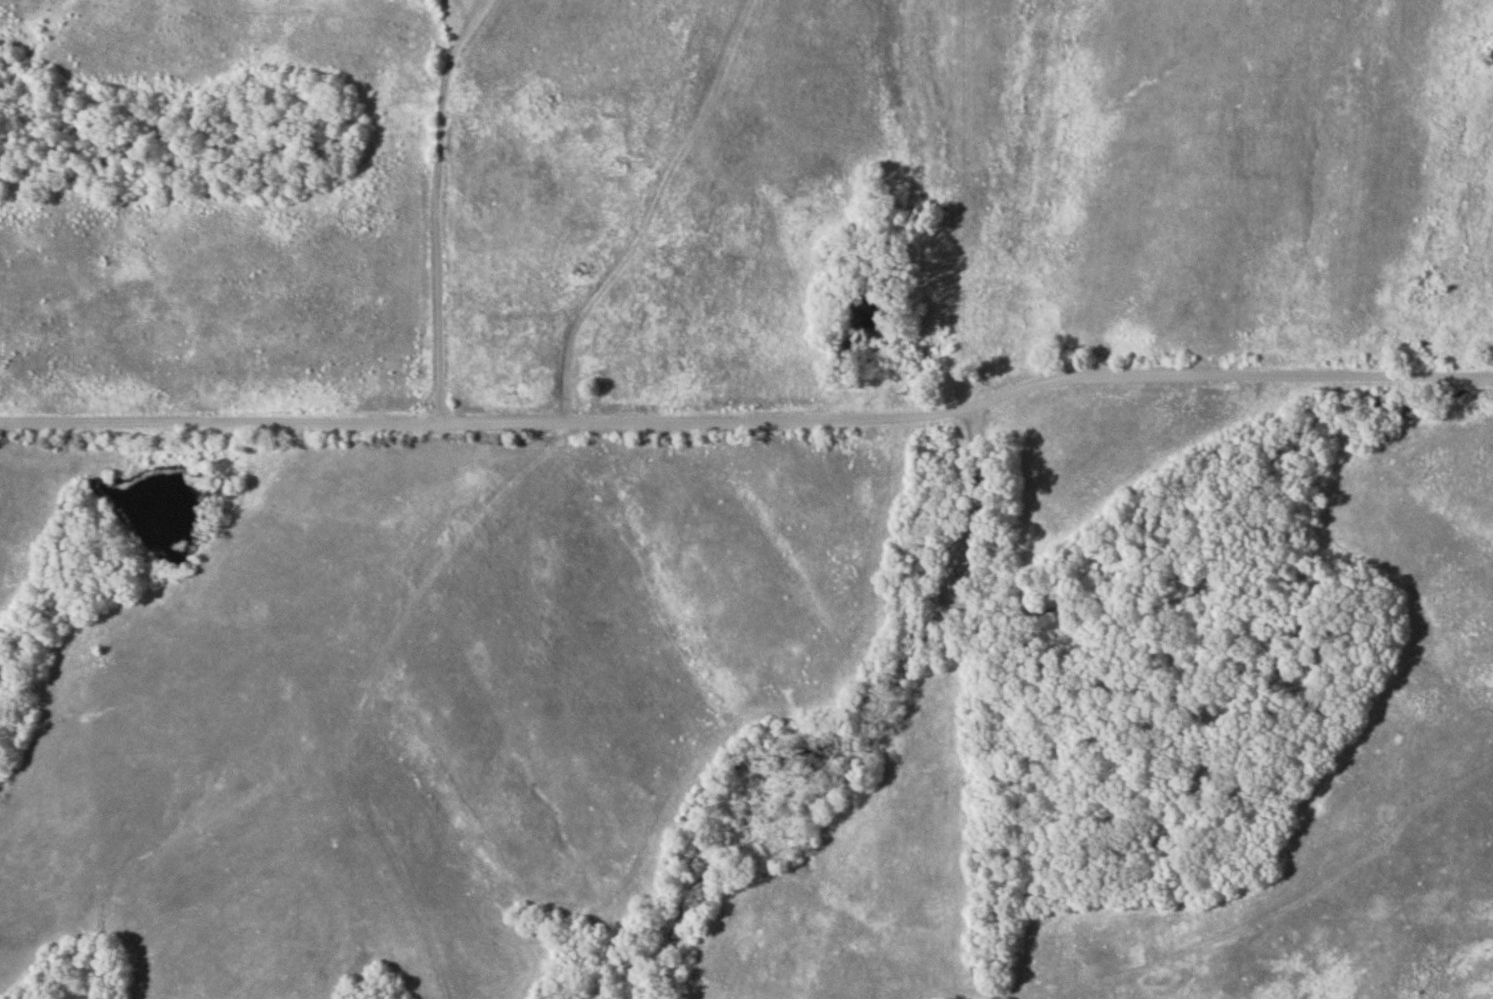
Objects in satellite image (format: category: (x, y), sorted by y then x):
road: (469, 27)
road: (442, 224)
road: (569, 348)
road: (970, 409)
road: (221, 421)

